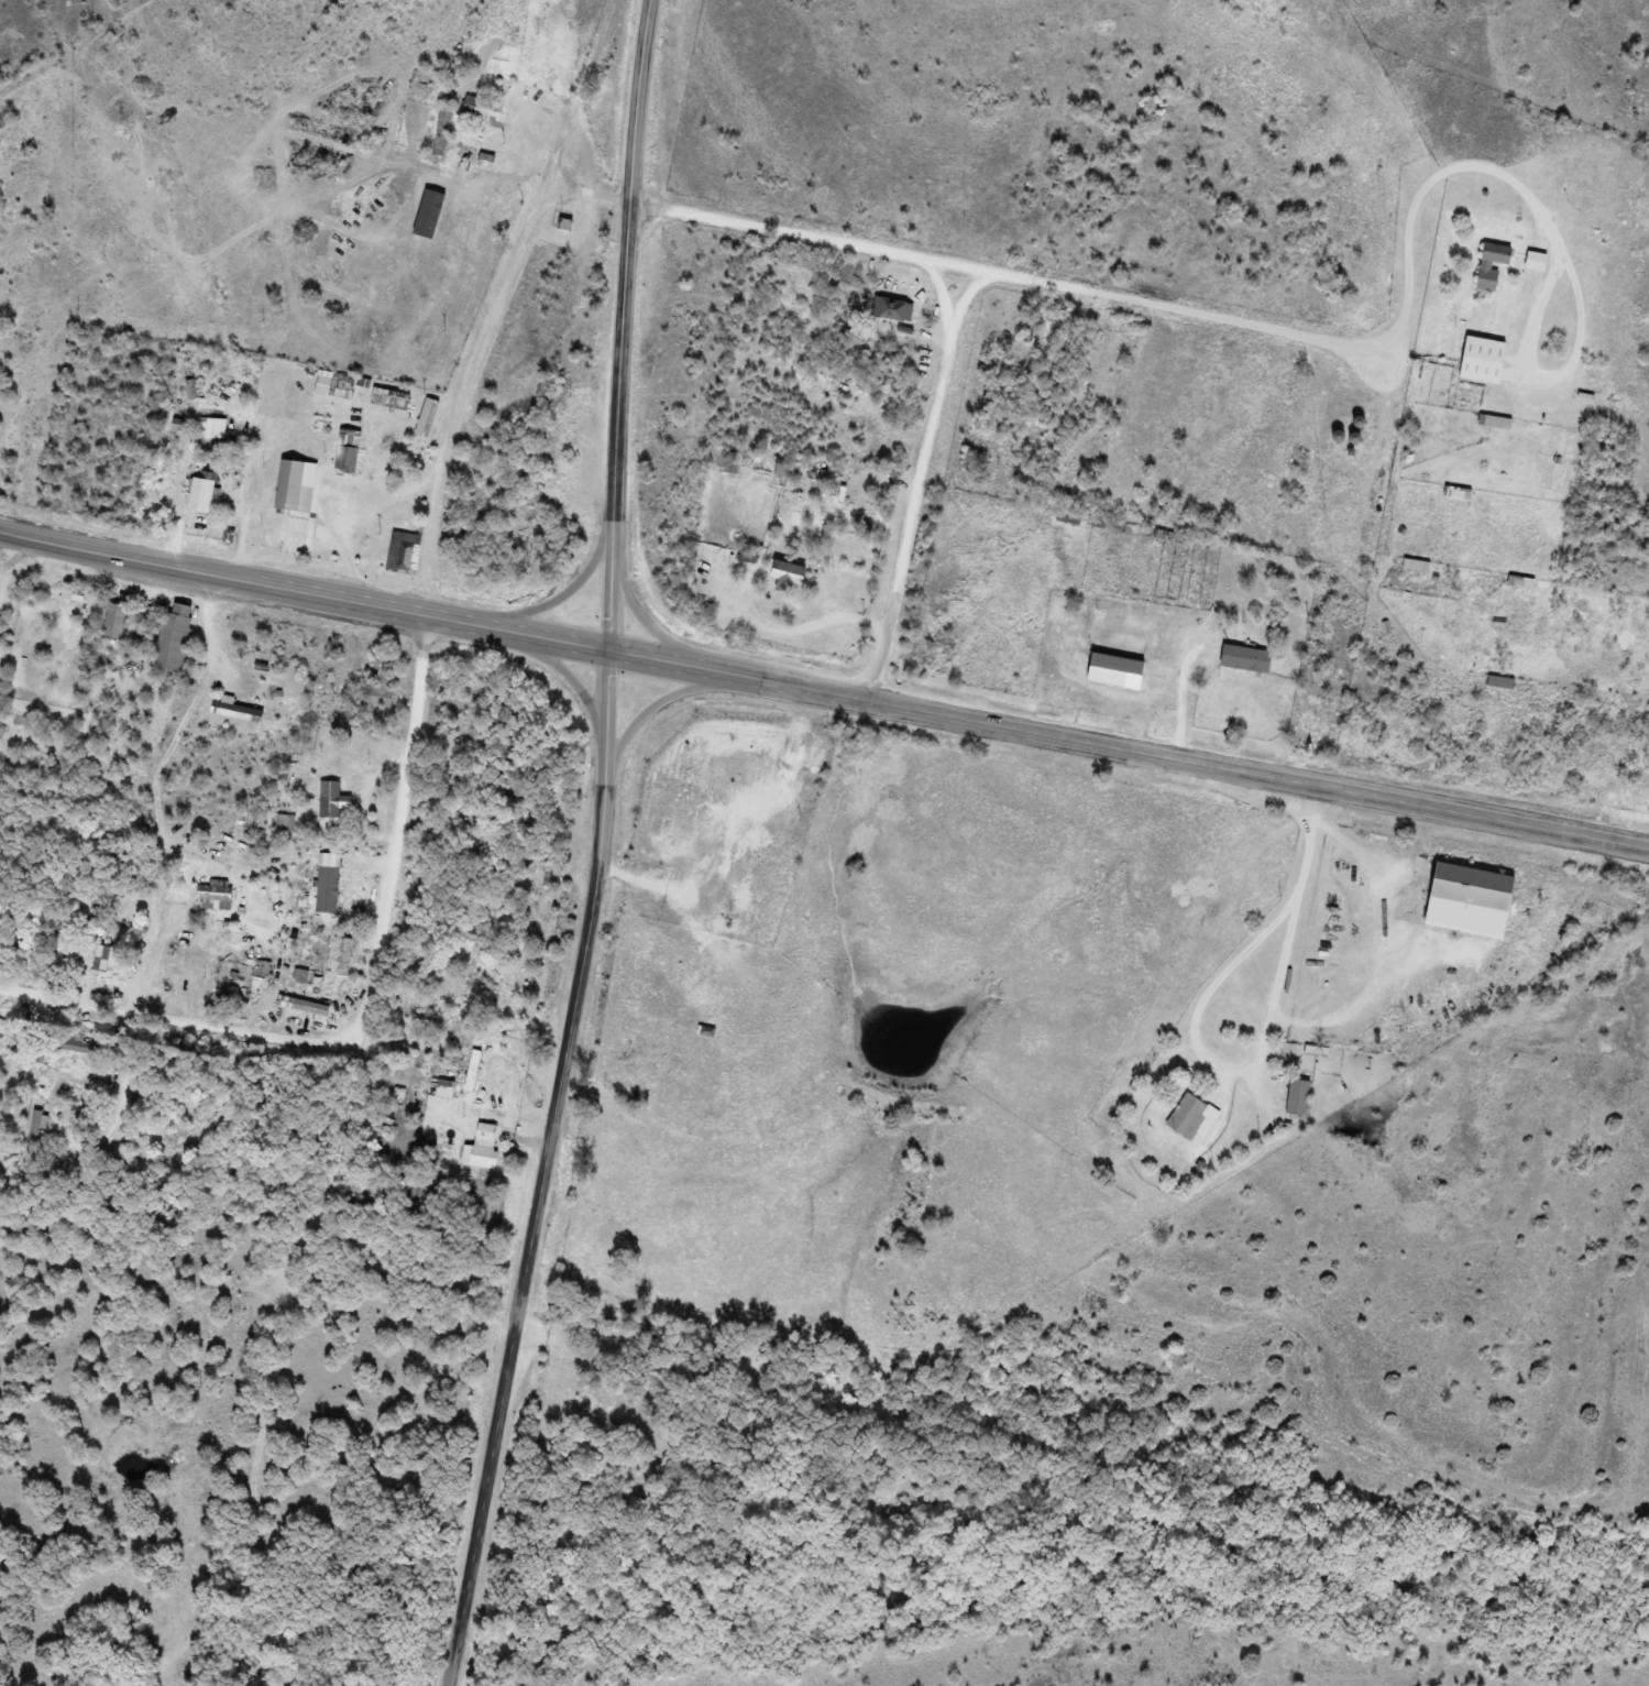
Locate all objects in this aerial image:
building: (482, 109)
building: (485, 161)
road: (1429, 188)
building: (1536, 262)
building: (1491, 265)
road: (1012, 276)
road: (969, 295)
road: (498, 298)
building: (891, 309)
road: (1581, 317)
building: (1482, 361)
building: (340, 386)
building: (388, 401)
building: (428, 419)
building: (347, 452)
road: (922, 477)
building: (295, 490)
building: (201, 494)
building: (405, 554)
building: (1415, 565)
building: (788, 577)
road: (578, 583)
building: (1520, 583)
road: (658, 605)
road: (1349, 622)
building: (113, 623)
building: (173, 637)
building: (1245, 659)
building: (1115, 672)
building: (1499, 683)
road: (824, 685)
road: (584, 687)
road: (657, 708)
building: (237, 713)
road: (164, 787)
building: (329, 807)
road: (399, 831)
road: (608, 849)
building: (326, 890)
building: (212, 899)
building: (1470, 901)
building: (340, 954)
building: (106, 960)
building: (185, 977)
building: (301, 978)
road: (1280, 993)
building: (301, 1006)
road: (180, 1018)
building: (705, 1032)
building: (1, 1036)
building: (79, 1048)
building: (1296, 1098)
building: (1189, 1117)
building: (33, 1131)
building: (485, 1131)
building: (476, 1156)

